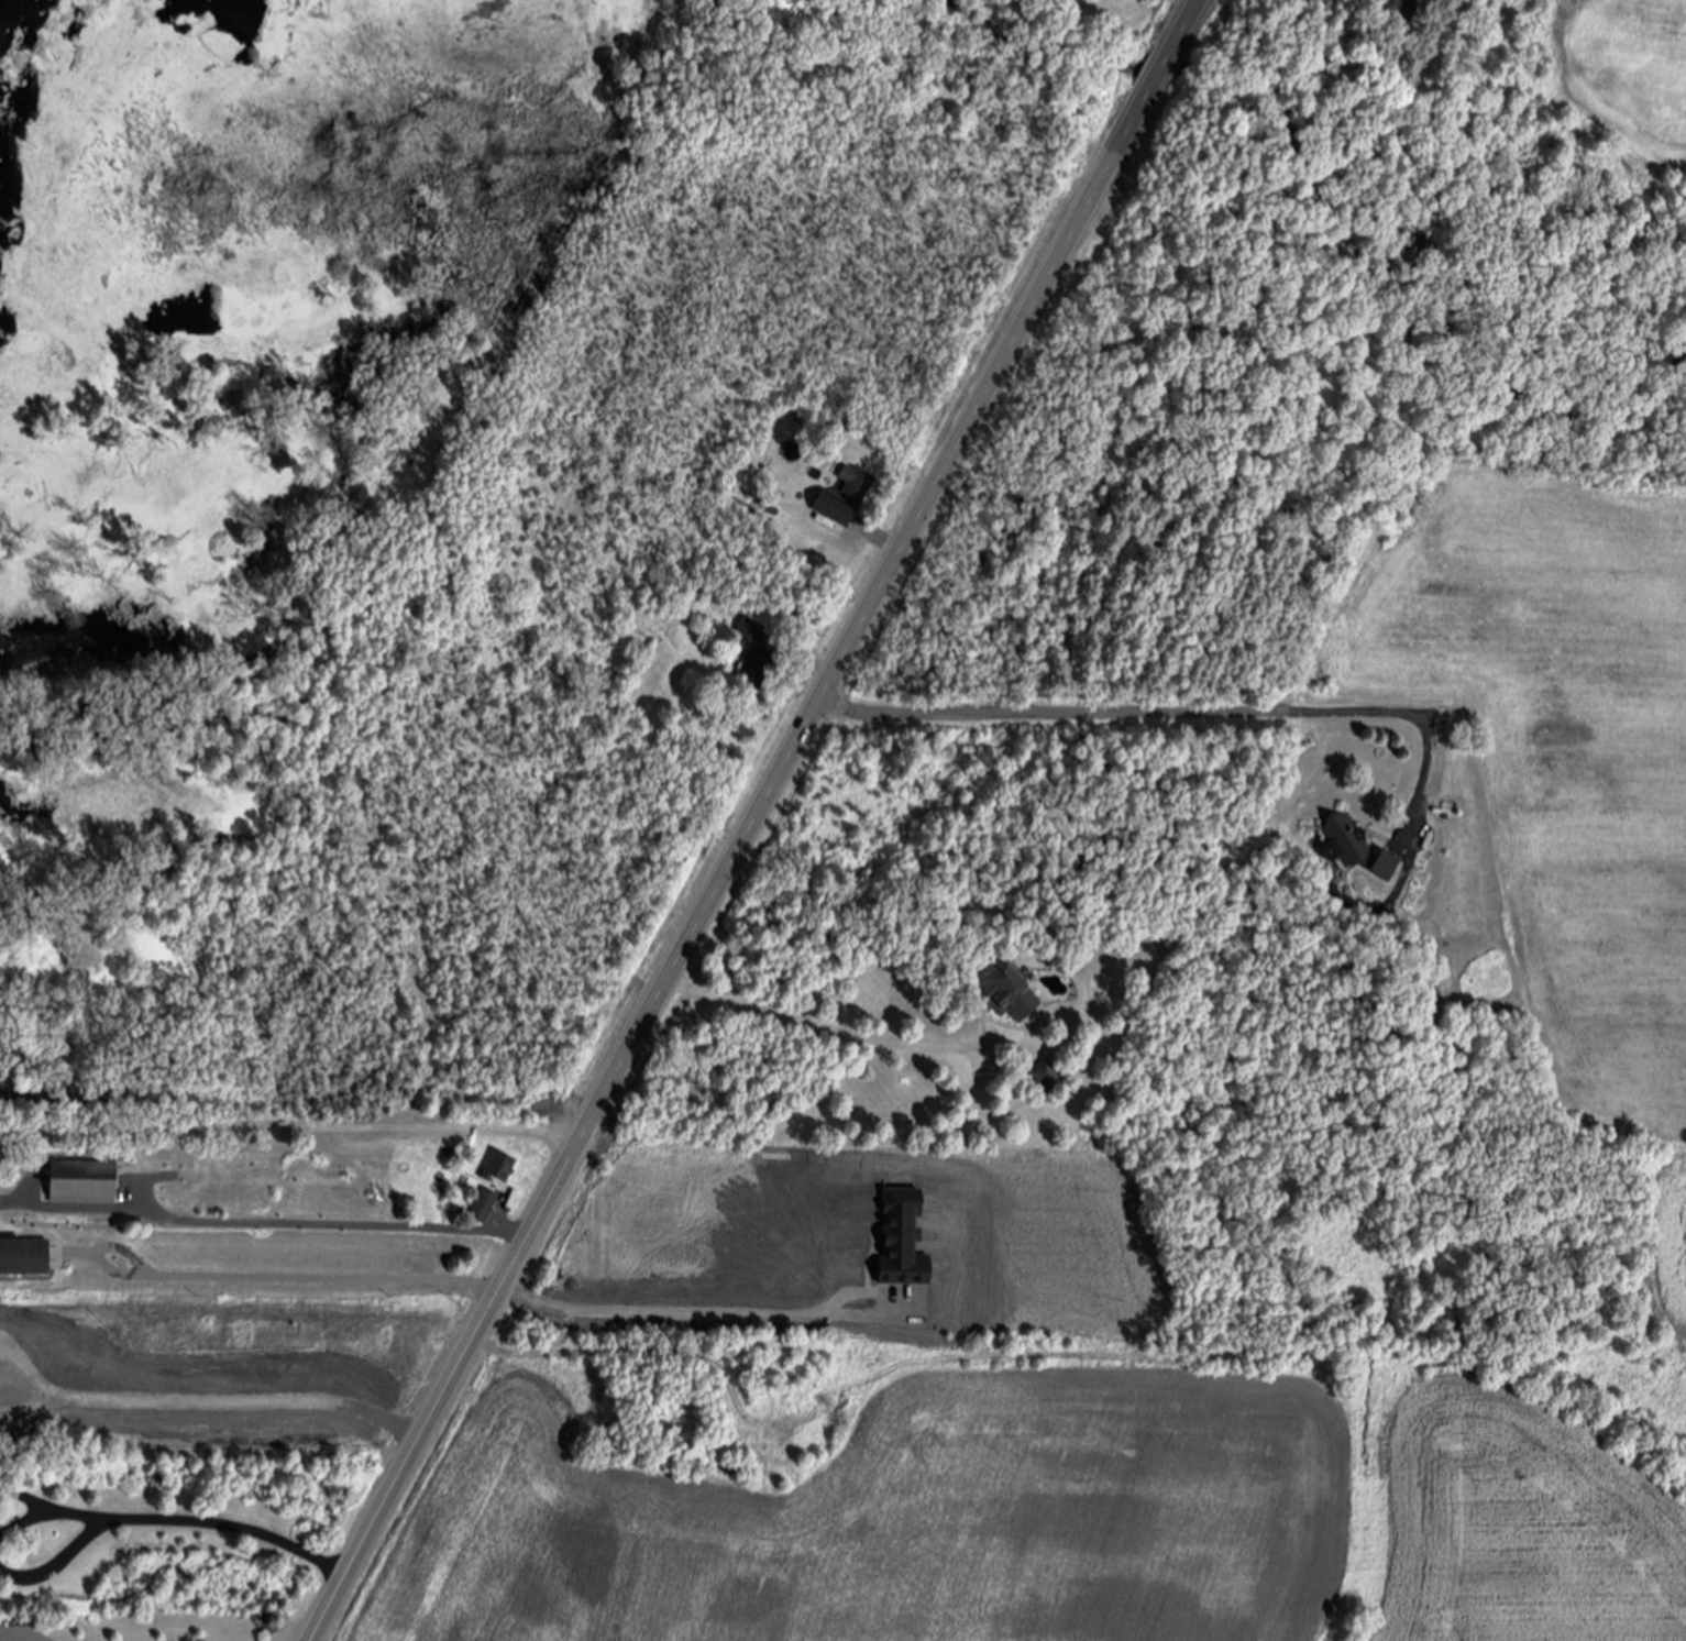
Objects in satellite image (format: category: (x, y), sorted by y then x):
building: (1393, 8)
park: (1392, 87)
building: (857, 486)
building: (836, 511)
road: (891, 572)
building: (753, 634)
building: (758, 671)
road: (1128, 709)
road: (1437, 768)
building: (1344, 845)
building: (1386, 870)
building: (1006, 995)
road: (847, 1035)
building: (1047, 1079)
road: (294, 1122)
building: (500, 1169)
building: (84, 1182)
building: (485, 1207)
road: (540, 1219)
road: (326, 1227)
building: (902, 1240)
crop: (1668, 1242)
building: (26, 1260)
road: (256, 1279)
road: (693, 1315)
road: (34, 1372)
road: (249, 1400)
road: (33, 1407)
road: (405, 1467)
building: (739, 1471)
crop: (1022, 1501)
road: (183, 1523)
road: (44, 1632)

